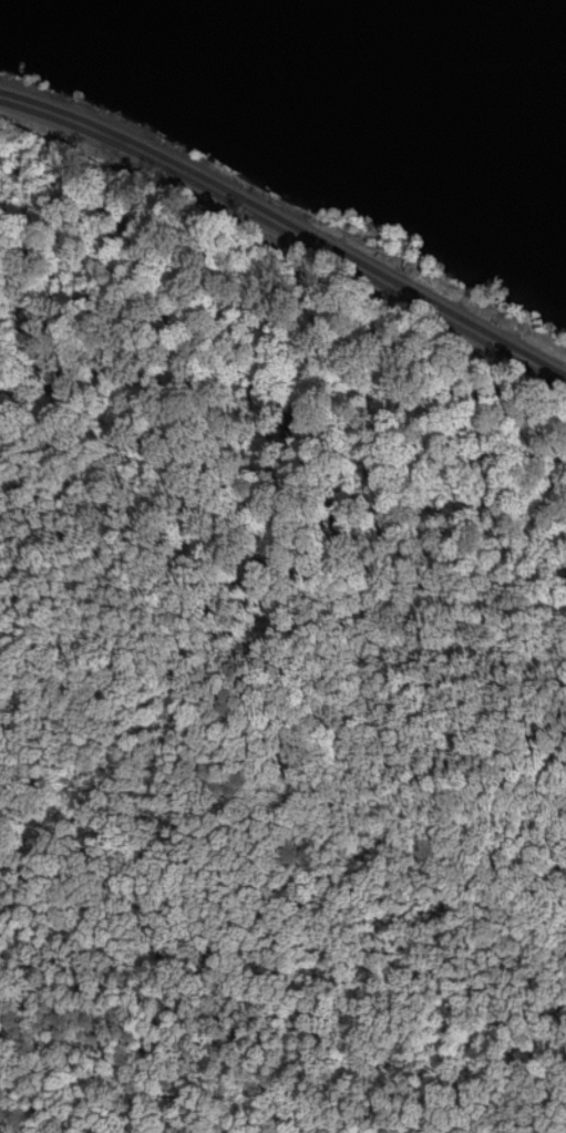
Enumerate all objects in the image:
river: (360, 82)
park: (327, 137)
railway: (285, 231)
railway: (285, 245)

